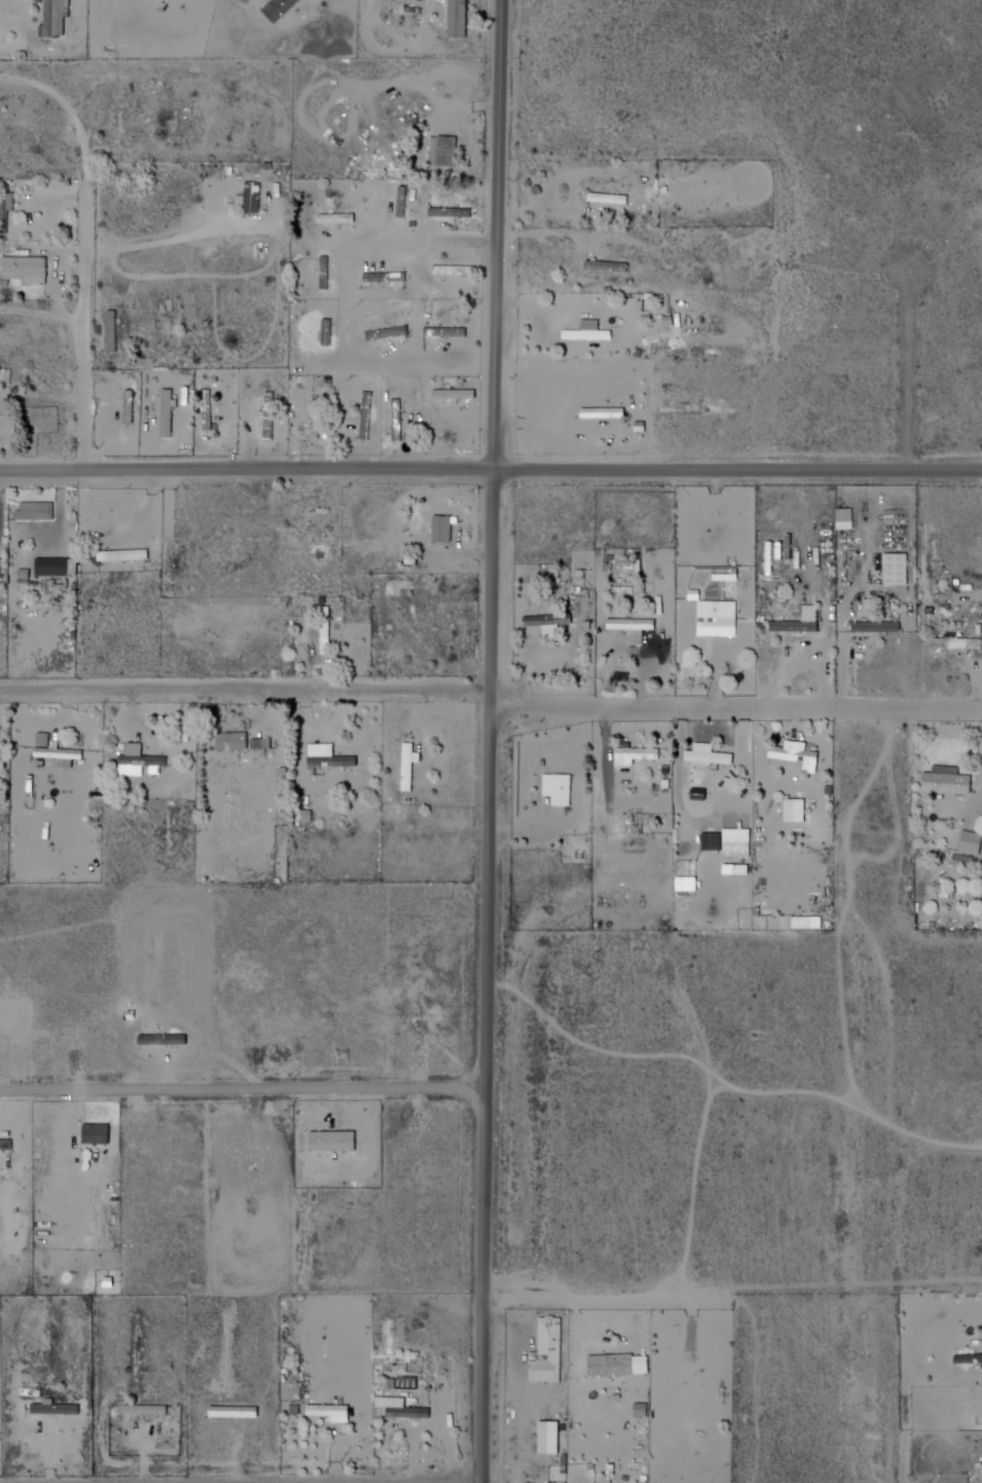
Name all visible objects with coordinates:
building: (284, 8)
building: (60, 16)
building: (462, 18)
building: (451, 150)
building: (387, 171)
building: (256, 197)
building: (400, 198)
building: (611, 198)
building: (406, 202)
building: (6, 210)
building: (452, 213)
building: (340, 218)
building: (671, 240)
road: (373, 250)
building: (611, 265)
building: (29, 268)
building: (460, 269)
building: (329, 272)
building: (322, 273)
building: (386, 275)
road: (95, 318)
building: (117, 331)
building: (450, 331)
building: (324, 333)
building: (330, 333)
building: (393, 334)
building: (589, 334)
road: (401, 367)
building: (458, 393)
building: (132, 406)
building: (126, 407)
building: (0, 408)
building: (210, 410)
building: (606, 410)
building: (171, 412)
building: (266, 416)
building: (274, 416)
building: (319, 416)
building: (363, 416)
building: (369, 416)
building: (395, 421)
building: (401, 421)
road: (490, 473)
building: (39, 511)
building: (311, 519)
building: (842, 519)
building: (444, 526)
building: (126, 555)
building: (60, 566)
building: (893, 570)
building: (721, 618)
building: (554, 621)
building: (800, 627)
building: (328, 628)
building: (639, 628)
building: (881, 628)
building: (322, 630)
building: (960, 642)
road: (248, 694)
road: (739, 712)
road: (496, 741)
building: (236, 743)
building: (799, 751)
building: (67, 752)
building: (639, 755)
building: (711, 755)
building: (328, 757)
building: (145, 759)
building: (411, 764)
building: (951, 780)
building: (561, 789)
building: (709, 842)
building: (969, 843)
road: (599, 1297)
building: (552, 1352)
building: (971, 1358)
building: (696, 1363)
building: (622, 1365)
building: (61, 1410)
building: (151, 1410)
building: (338, 1414)
building: (414, 1414)
building: (548, 1437)
road: (901, 1460)

